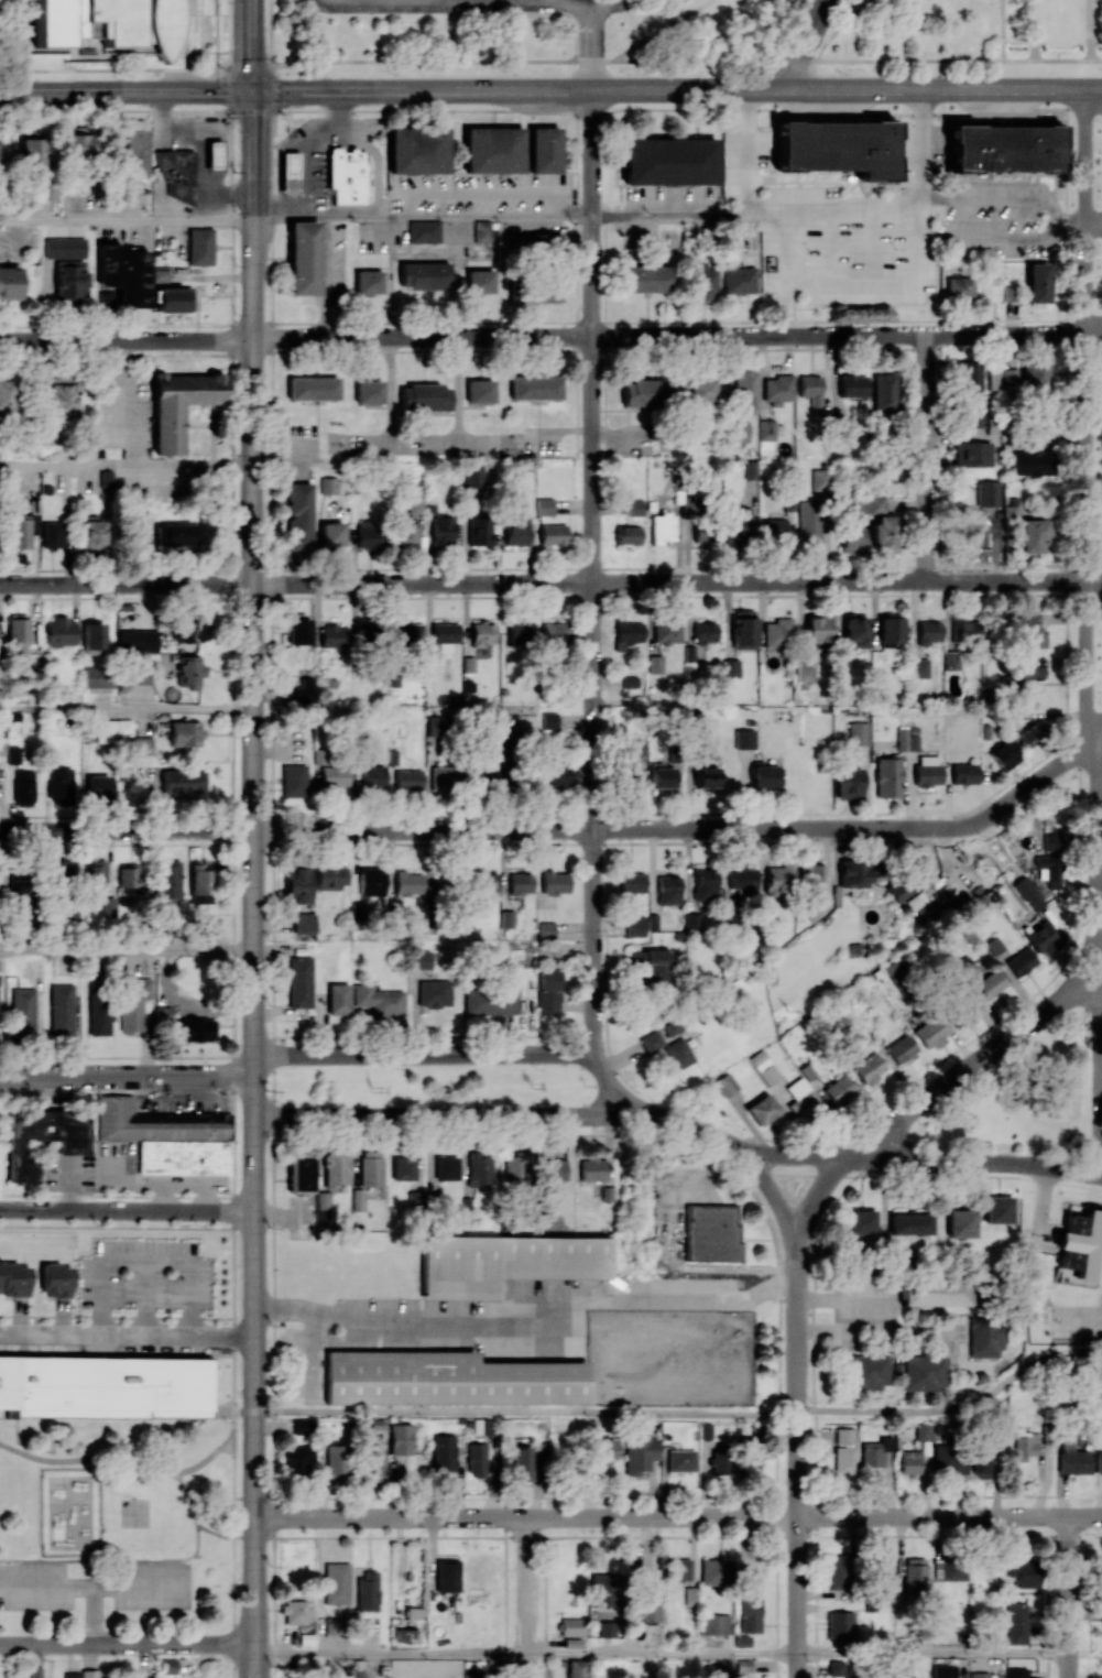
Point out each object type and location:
road: (490, 2)
road: (536, 2)
building: (99, 25)
road: (1000, 30)
road: (1032, 30)
road: (1092, 30)
park: (961, 37)
road: (805, 42)
road: (252, 45)
road: (589, 46)
road: (487, 59)
road: (856, 59)
road: (948, 87)
road: (523, 88)
road: (126, 90)
traffic signals: (252, 90)
road: (677, 109)
road: (126, 110)
building: (76, 141)
road: (310, 144)
building: (837, 146)
building: (1003, 148)
building: (417, 150)
building: (492, 150)
building: (543, 150)
building: (31, 152)
building: (134, 152)
road: (748, 152)
road: (380, 157)
building: (669, 161)
building: (290, 172)
building: (175, 173)
building: (346, 175)
building: (47, 189)
road: (1005, 201)
road: (421, 215)
road: (756, 215)
road: (126, 221)
road: (1093, 221)
building: (424, 231)
building: (482, 231)
road: (1005, 238)
building: (539, 242)
building: (200, 246)
building: (64, 248)
road: (784, 251)
building: (303, 258)
building: (123, 273)
building: (423, 274)
road: (325, 276)
building: (645, 277)
building: (479, 280)
building: (739, 280)
road: (924, 280)
building: (69, 281)
building: (9, 282)
building: (368, 282)
building: (703, 282)
building: (1037, 282)
building: (960, 287)
building: (541, 292)
building: (173, 298)
road: (677, 337)
road: (126, 341)
building: (1034, 373)
building: (969, 375)
building: (1008, 377)
building: (993, 380)
building: (852, 385)
building: (535, 386)
building: (313, 388)
building: (810, 388)
building: (745, 389)
building: (777, 389)
building: (479, 391)
building: (701, 391)
building: (368, 392)
building: (644, 392)
building: (884, 392)
road: (390, 393)
road: (457, 394)
building: (7, 396)
building: (61, 396)
building: (424, 396)
building: (178, 405)
building: (973, 415)
road: (1083, 415)
road: (560, 429)
building: (767, 429)
building: (971, 454)
road: (288, 459)
road: (926, 459)
building: (1032, 462)
road: (126, 465)
road: (303, 468)
building: (751, 468)
building: (106, 478)
building: (472, 478)
building: (820, 479)
building: (328, 484)
building: (986, 493)
building: (415, 503)
building: (870, 503)
building: (544, 506)
building: (635, 506)
building: (298, 515)
building: (809, 522)
building: (663, 527)
building: (739, 527)
building: (515, 530)
building: (774, 530)
building: (441, 531)
building: (482, 531)
building: (703, 532)
building: (19, 533)
building: (92, 533)
building: (883, 533)
building: (53, 534)
building: (369, 534)
building: (552, 534)
building: (972, 534)
building: (1032, 534)
building: (176, 535)
building: (331, 535)
building: (404, 535)
building: (628, 535)
building: (851, 537)
road: (127, 582)
road: (677, 582)
road: (1067, 582)
road: (591, 607)
building: (297, 628)
building: (818, 628)
building: (743, 629)
building: (962, 629)
building: (192, 630)
building: (855, 630)
building: (890, 630)
building: (1030, 631)
building: (19, 632)
building: (59, 632)
building: (482, 632)
building: (555, 632)
building: (667, 632)
building: (705, 632)
building: (928, 632)
building: (407, 633)
building: (520, 633)
building: (628, 633)
building: (777, 633)
building: (334, 635)
building: (445, 635)
building: (94, 638)
building: (138, 640)
building: (690, 653)
building: (842, 658)
building: (950, 660)
building: (655, 664)
building: (730, 667)
building: (918, 667)
building: (805, 671)
building: (190, 672)
building: (98, 677)
building: (630, 682)
building: (304, 689)
building: (549, 693)
road: (126, 708)
road: (252, 716)
building: (549, 720)
building: (435, 724)
building: (509, 724)
building: (112, 730)
building: (185, 732)
building: (1033, 732)
building: (858, 733)
road: (1100, 736)
building: (743, 738)
building: (907, 740)
building: (2, 744)
building: (139, 745)
building: (637, 747)
building: (1003, 755)
building: (13, 756)
building: (927, 770)
building: (964, 773)
building: (765, 774)
building: (662, 775)
building: (335, 776)
building: (706, 776)
building: (371, 777)
building: (444, 777)
building: (632, 777)
building: (887, 777)
building: (482, 778)
building: (293, 780)
building: (405, 780)
building: (184, 781)
building: (848, 782)
building: (59, 783)
building: (98, 786)
building: (23, 787)
road: (126, 829)
road: (688, 829)
building: (1051, 840)
road: (1100, 858)
building: (1049, 870)
building: (61, 871)
building: (854, 872)
building: (129, 874)
building: (810, 874)
building: (96, 876)
building: (331, 876)
building: (741, 876)
building: (778, 879)
building: (168, 880)
building: (297, 881)
building: (368, 881)
building: (554, 881)
building: (487, 882)
building: (631, 882)
building: (705, 882)
building: (408, 883)
building: (520, 883)
building: (904, 883)
building: (200, 884)
building: (19, 887)
building: (668, 890)
building: (1028, 893)
building: (0, 895)
building: (109, 906)
building: (67, 917)
building: (506, 918)
building: (303, 923)
building: (634, 926)
building: (546, 929)
building: (1041, 938)
building: (994, 945)
road: (126, 951)
building: (419, 959)
building: (1021, 961)
building: (651, 962)
building: (965, 969)
building: (896, 972)
building: (299, 982)
building: (990, 983)
building: (548, 991)
building: (434, 993)
building: (338, 999)
building: (378, 1000)
building: (133, 1003)
building: (490, 1003)
building: (62, 1009)
building: (22, 1012)
building: (162, 1014)
building: (99, 1015)
building: (673, 1026)
building: (196, 1029)
building: (929, 1032)
building: (651, 1040)
road: (1054, 1043)
building: (901, 1048)
building: (678, 1054)
road: (424, 1055)
building: (869, 1068)
building: (766, 1071)
road: (1101, 1076)
road: (127, 1078)
building: (725, 1085)
power tower: (530, 1087)
power tower: (369, 1089)
building: (838, 1089)
park: (1065, 1090)
building: (800, 1098)
park: (1023, 1099)
road: (924, 1103)
building: (762, 1109)
road: (681, 1122)
building: (149, 1123)
building: (67, 1146)
building: (177, 1157)
building: (403, 1167)
building: (446, 1167)
building: (479, 1167)
building: (517, 1167)
building: (371, 1168)
building: (336, 1169)
building: (592, 1169)
building: (552, 1173)
building: (296, 1174)
building: (358, 1199)
building: (999, 1209)
road: (127, 1210)
building: (861, 1221)
building: (910, 1223)
building: (960, 1223)
building: (707, 1233)
building: (1081, 1244)
road: (673, 1255)
road: (144, 1260)
building: (503, 1261)
building: (14, 1279)
building: (56, 1281)
building: (934, 1294)
road: (144, 1297)
road: (843, 1298)
road: (1082, 1319)
road: (531, 1321)
road: (877, 1330)
road: (127, 1333)
building: (985, 1338)
road: (1081, 1351)
building: (588, 1370)
building: (868, 1372)
building: (925, 1373)
building: (440, 1377)
building: (84, 1386)
road: (797, 1408)
road: (937, 1410)
road: (526, 1412)
building: (923, 1432)
building: (844, 1436)
building: (400, 1439)
building: (1025, 1442)
building: (444, 1451)
building: (604, 1451)
building: (875, 1451)
building: (640, 1452)
building: (750, 1454)
building: (375, 1459)
building: (949, 1459)
building: (294, 1460)
building: (681, 1460)
building: (844, 1460)
building: (335, 1461)
building: (476, 1461)
building: (521, 1461)
building: (720, 1461)
building: (909, 1461)
building: (1073, 1461)
building: (1098, 1462)
building: (981, 1463)
road: (143, 1465)
road: (233, 1465)
road: (254, 1493)
road: (188, 1494)
road: (244, 1497)
road: (211, 1504)
park: (68, 1512)
park: (134, 1514)
road: (234, 1516)
road: (950, 1516)
road: (525, 1517)
park: (120, 1526)
road: (214, 1533)
road: (243, 1537)
road: (113, 1560)
building: (680, 1569)
building: (949, 1569)
building: (1025, 1570)
building: (716, 1571)
building: (837, 1571)
building: (883, 1575)
building: (915, 1575)
building: (447, 1576)
building: (336, 1583)
parking lot: (153, 1584)
parking lot: (35, 1586)
road: (46, 1587)
road: (140, 1588)
road: (233, 1590)
building: (365, 1591)
road: (1069, 1597)
road: (527, 1598)
building: (751, 1602)
building: (648, 1605)
building: (295, 1611)
road: (94, 1616)
building: (1017, 1623)
building: (714, 1624)
building: (840, 1624)
building: (572, 1626)
building: (607, 1628)
building: (403, 1633)
building: (742, 1641)
road: (127, 1645)
road: (389, 1652)
road: (663, 1652)
road: (934, 1653)
road: (233, 1661)
road: (251, 1661)
road: (255, 1661)
road: (964, 1665)
building: (168, 1666)
building: (576, 1668)
building: (836, 1668)
building: (713, 1670)
building: (849, 1671)
building: (943, 1671)
building: (35, 1672)
building: (1016, 1672)
building: (89, 1674)
building: (70, 1675)
building: (979, 1675)
building: (907, 1676)
building: (143, 1677)
building: (877, 1677)

